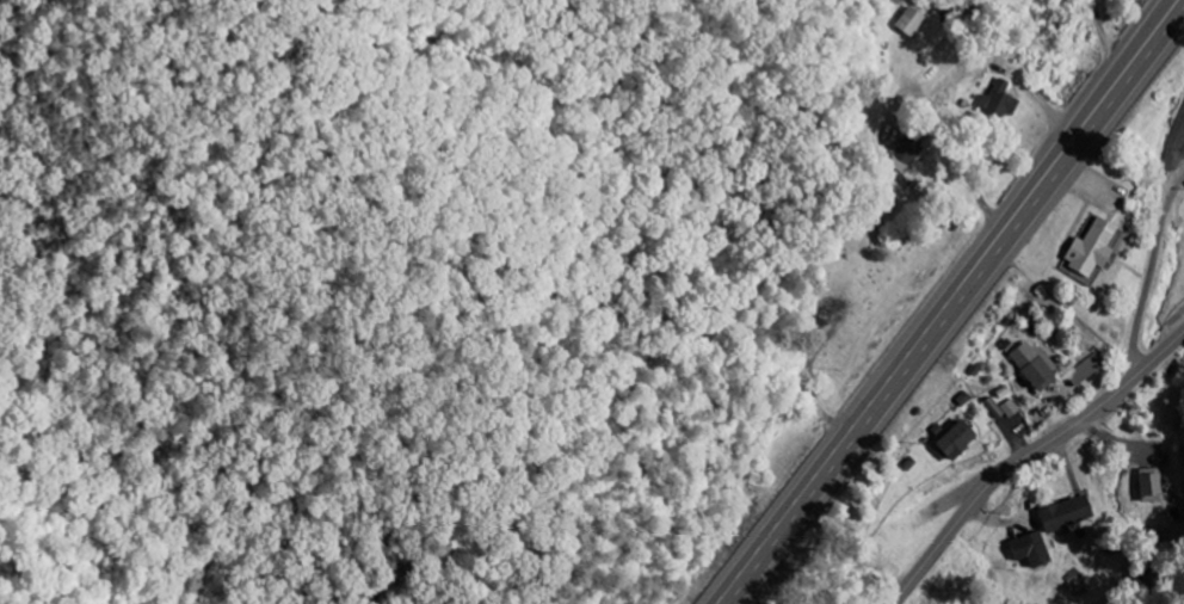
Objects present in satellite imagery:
building: (997, 103)
building: (1089, 252)
road: (1142, 270)
road: (946, 302)
building: (1085, 370)
building: (1036, 372)
building: (993, 409)
building: (1010, 409)
building: (951, 442)
road: (1026, 456)
building: (1148, 483)
building: (1063, 516)
building: (1030, 550)

